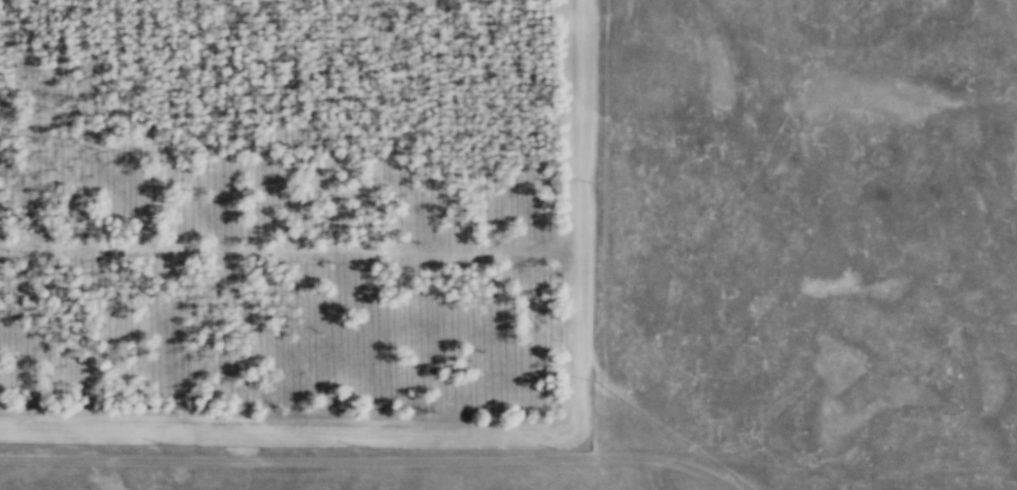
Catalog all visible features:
road: (604, 228)
road: (501, 431)
road: (583, 441)
road: (298, 461)
road: (668, 462)

